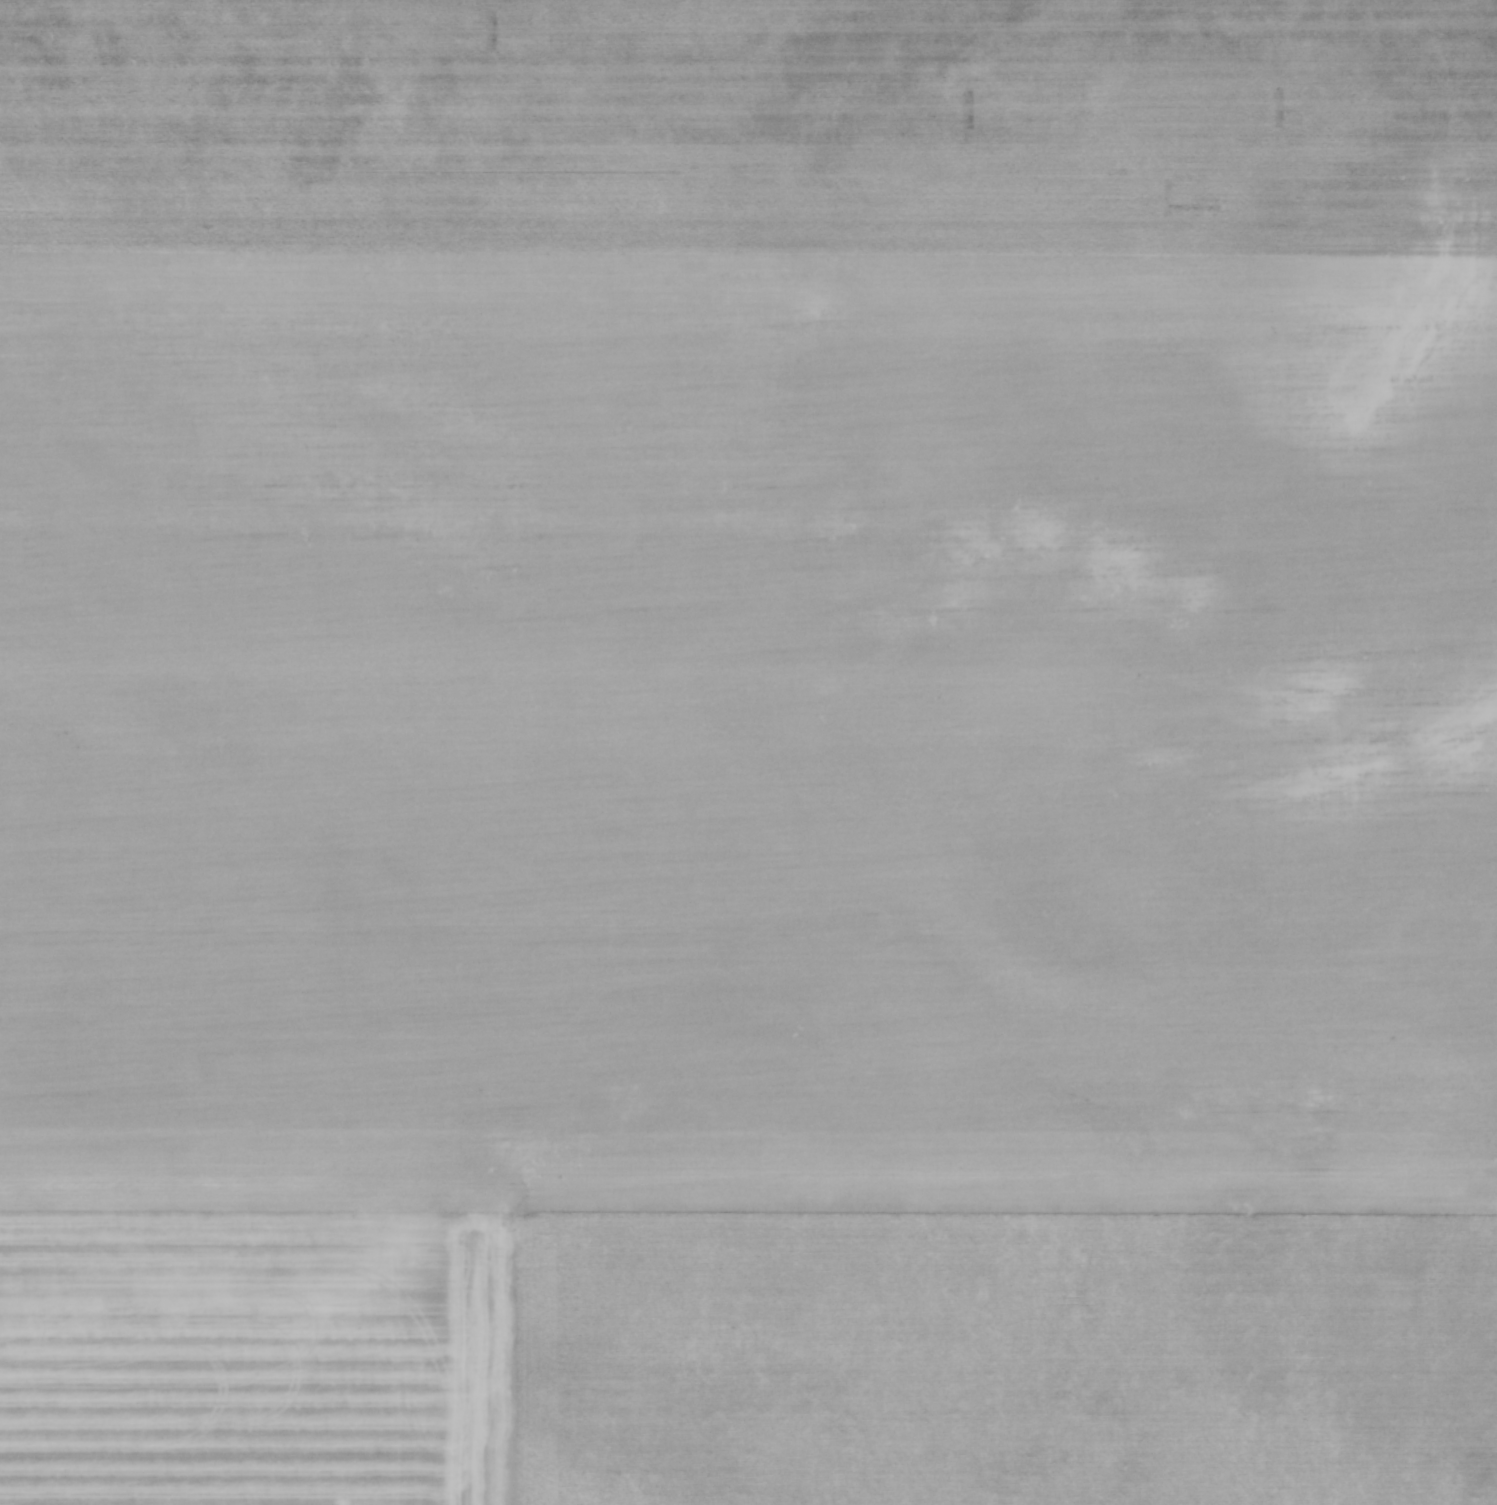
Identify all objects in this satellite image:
crop: (748, 752)

